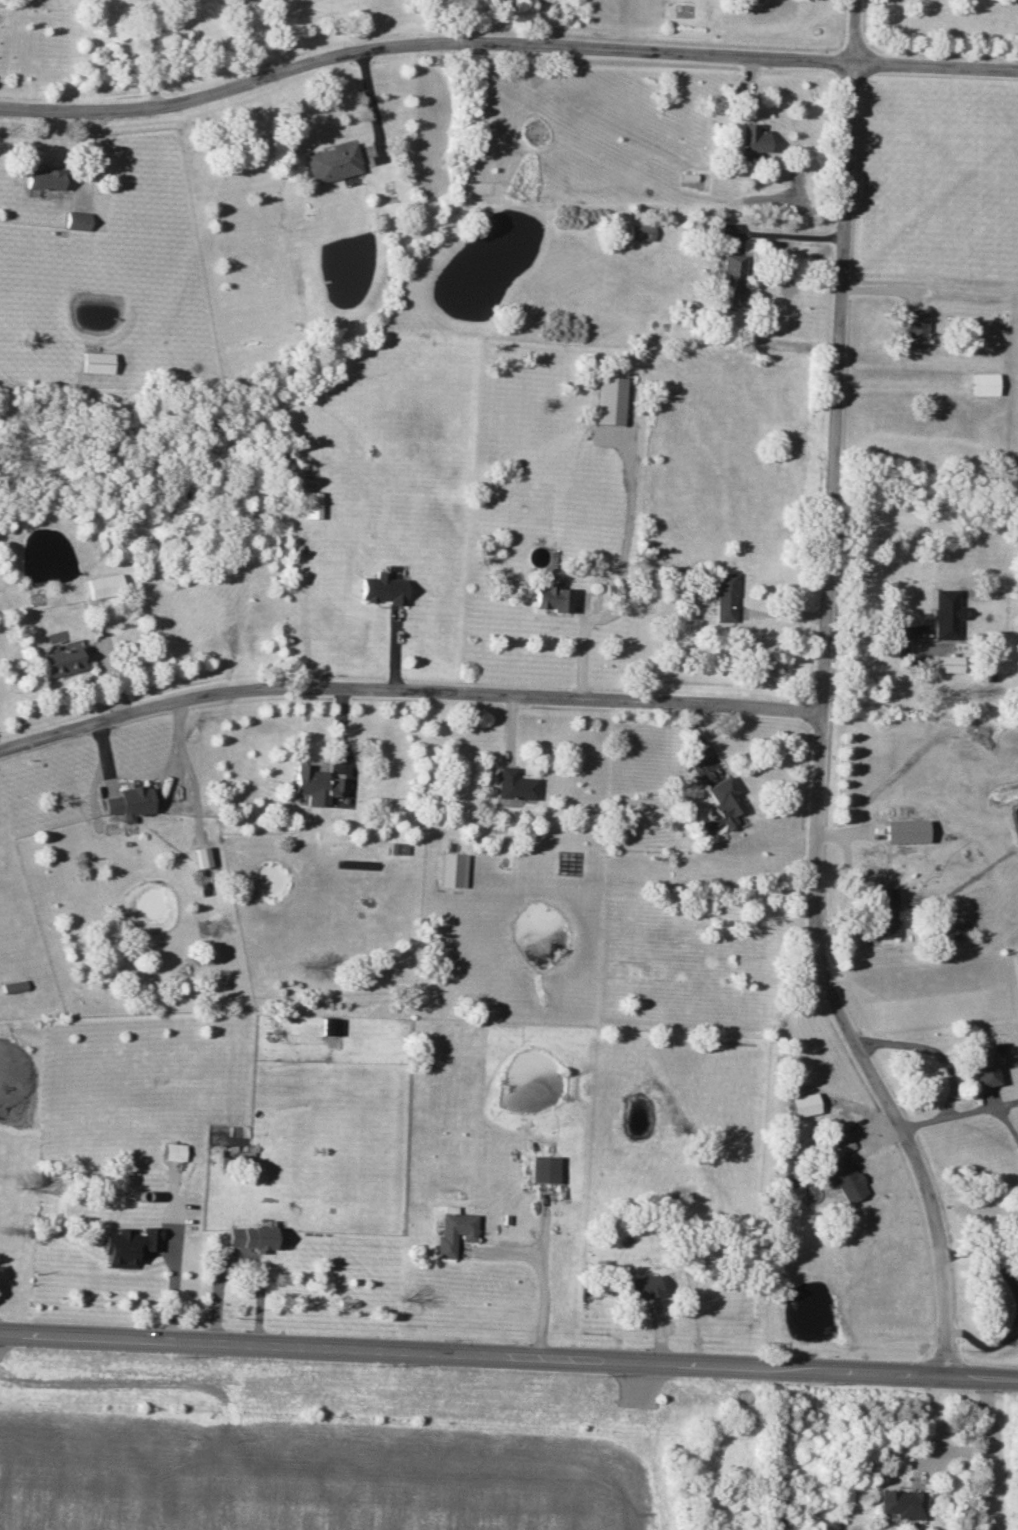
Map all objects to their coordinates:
road: (246, 37)
road: (504, 45)
road: (154, 54)
building: (751, 138)
building: (332, 163)
building: (44, 179)
building: (78, 220)
building: (639, 232)
road: (785, 235)
building: (731, 280)
building: (913, 328)
building: (97, 362)
building: (983, 383)
building: (608, 399)
building: (312, 504)
building: (104, 585)
building: (382, 588)
building: (724, 596)
building: (550, 597)
building: (945, 613)
road: (875, 631)
building: (62, 657)
building: (946, 663)
road: (406, 690)
road: (821, 701)
building: (514, 784)
building: (315, 785)
building: (129, 802)
building: (721, 806)
building: (904, 831)
building: (400, 848)
building: (203, 856)
building: (452, 870)
building: (883, 912)
building: (950, 929)
building: (13, 986)
building: (332, 1026)
road: (929, 1049)
building: (983, 1066)
building: (802, 1104)
road: (945, 1115)
building: (844, 1145)
building: (1017, 1147)
building: (174, 1151)
building: (543, 1168)
building: (842, 1177)
building: (453, 1233)
building: (251, 1237)
building: (127, 1245)
road: (242, 1258)
building: (1016, 1266)
road: (540, 1276)
road: (1015, 1301)
road: (1013, 1332)
road: (508, 1357)
road: (987, 1448)
building: (900, 1503)

